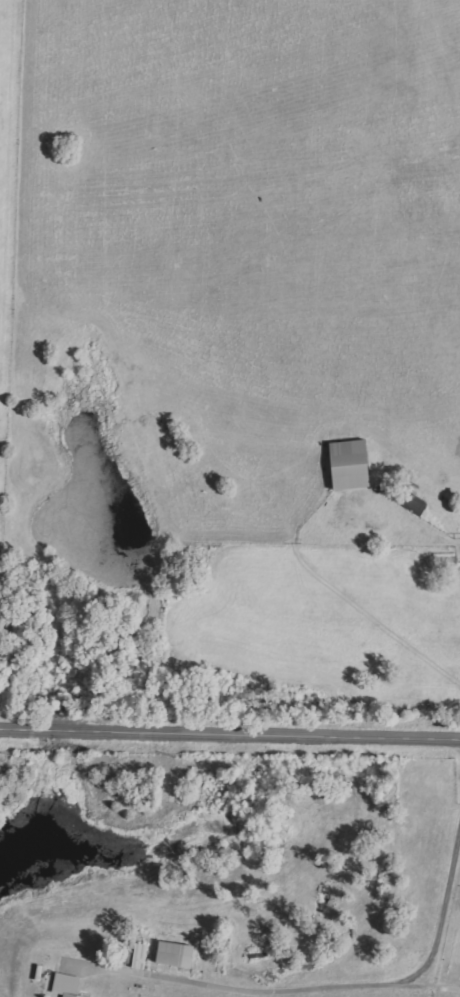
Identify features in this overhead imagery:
road: (339, 106)
building: (348, 465)
road: (230, 725)
building: (174, 954)
building: (66, 985)

